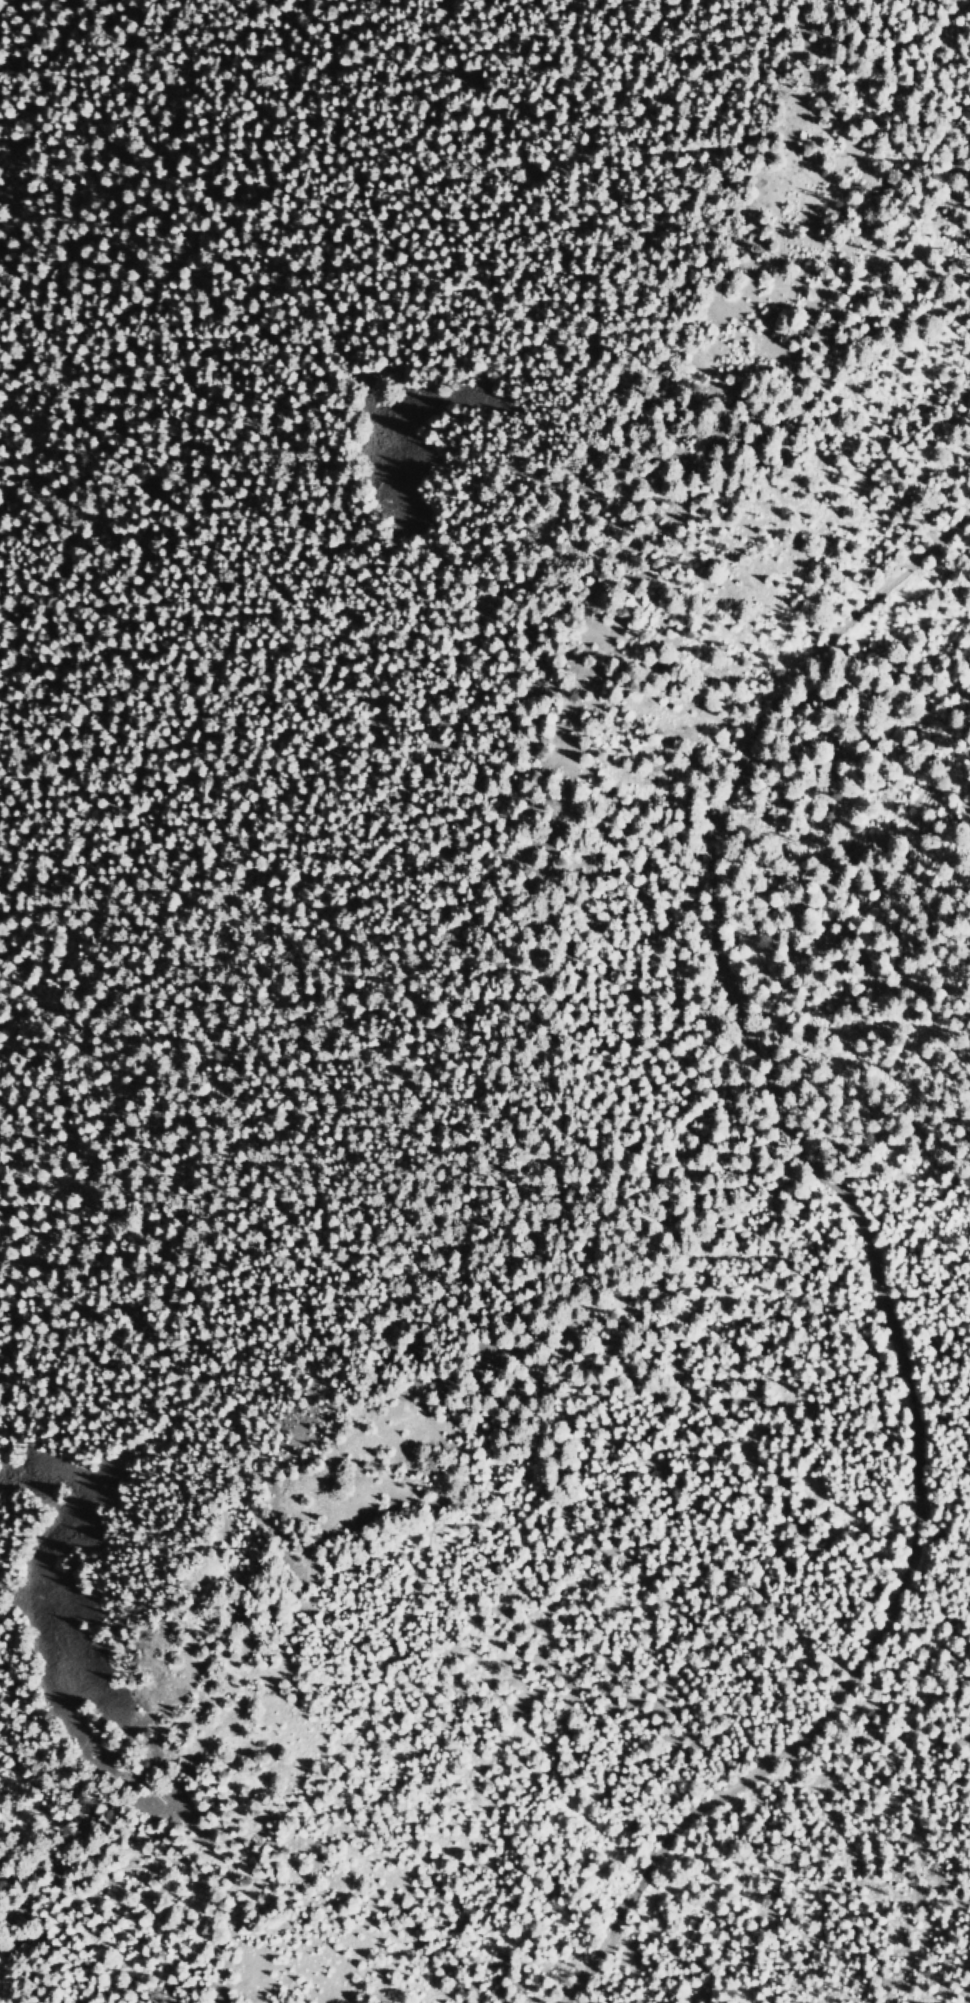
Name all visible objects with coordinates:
road: (547, 1045)
road: (870, 1258)
road: (920, 1972)

